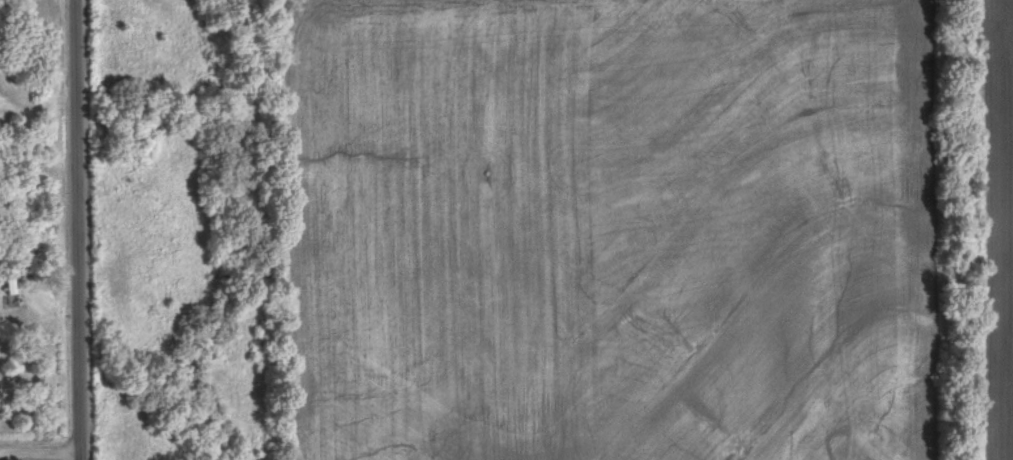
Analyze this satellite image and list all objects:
road: (79, 230)
building: (12, 292)
road: (41, 450)

